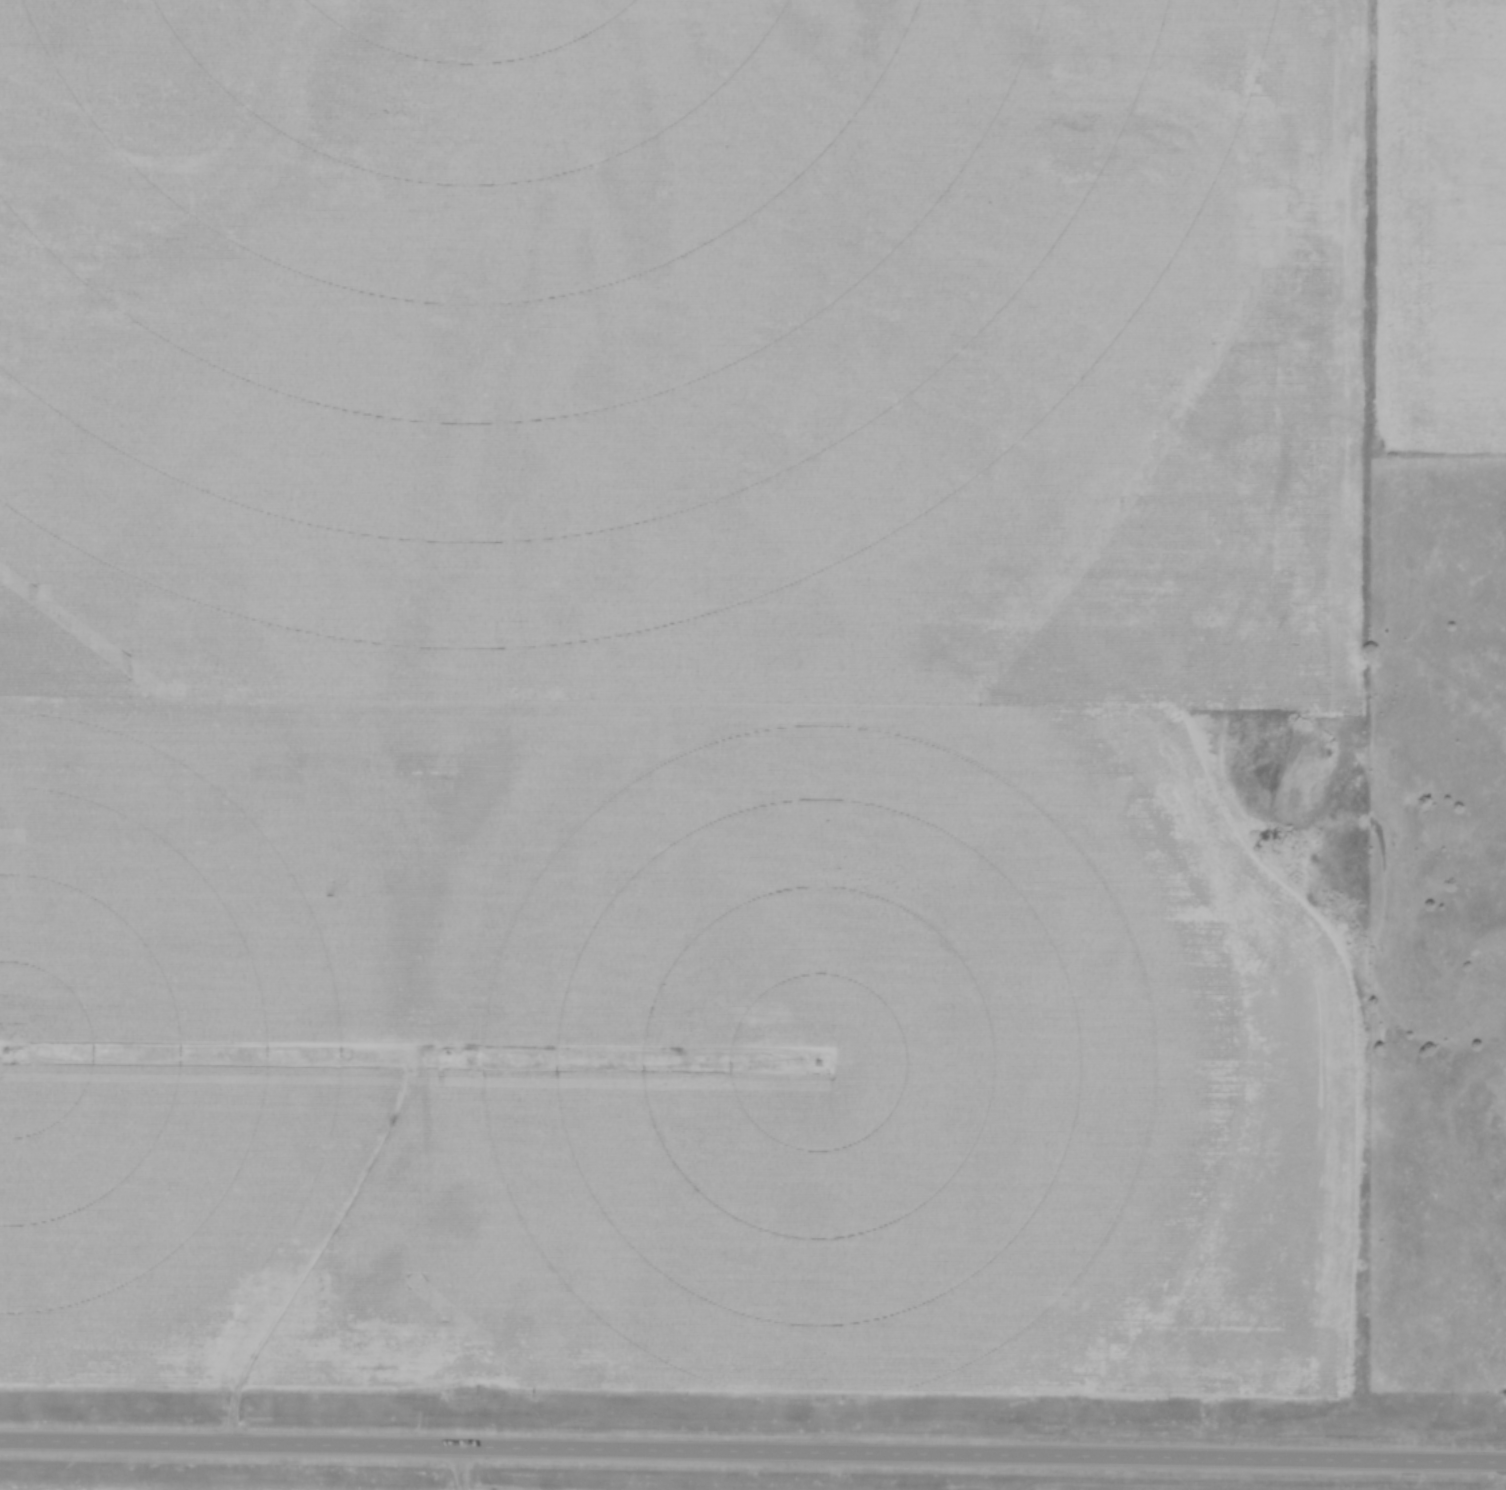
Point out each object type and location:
road: (752, 1452)

